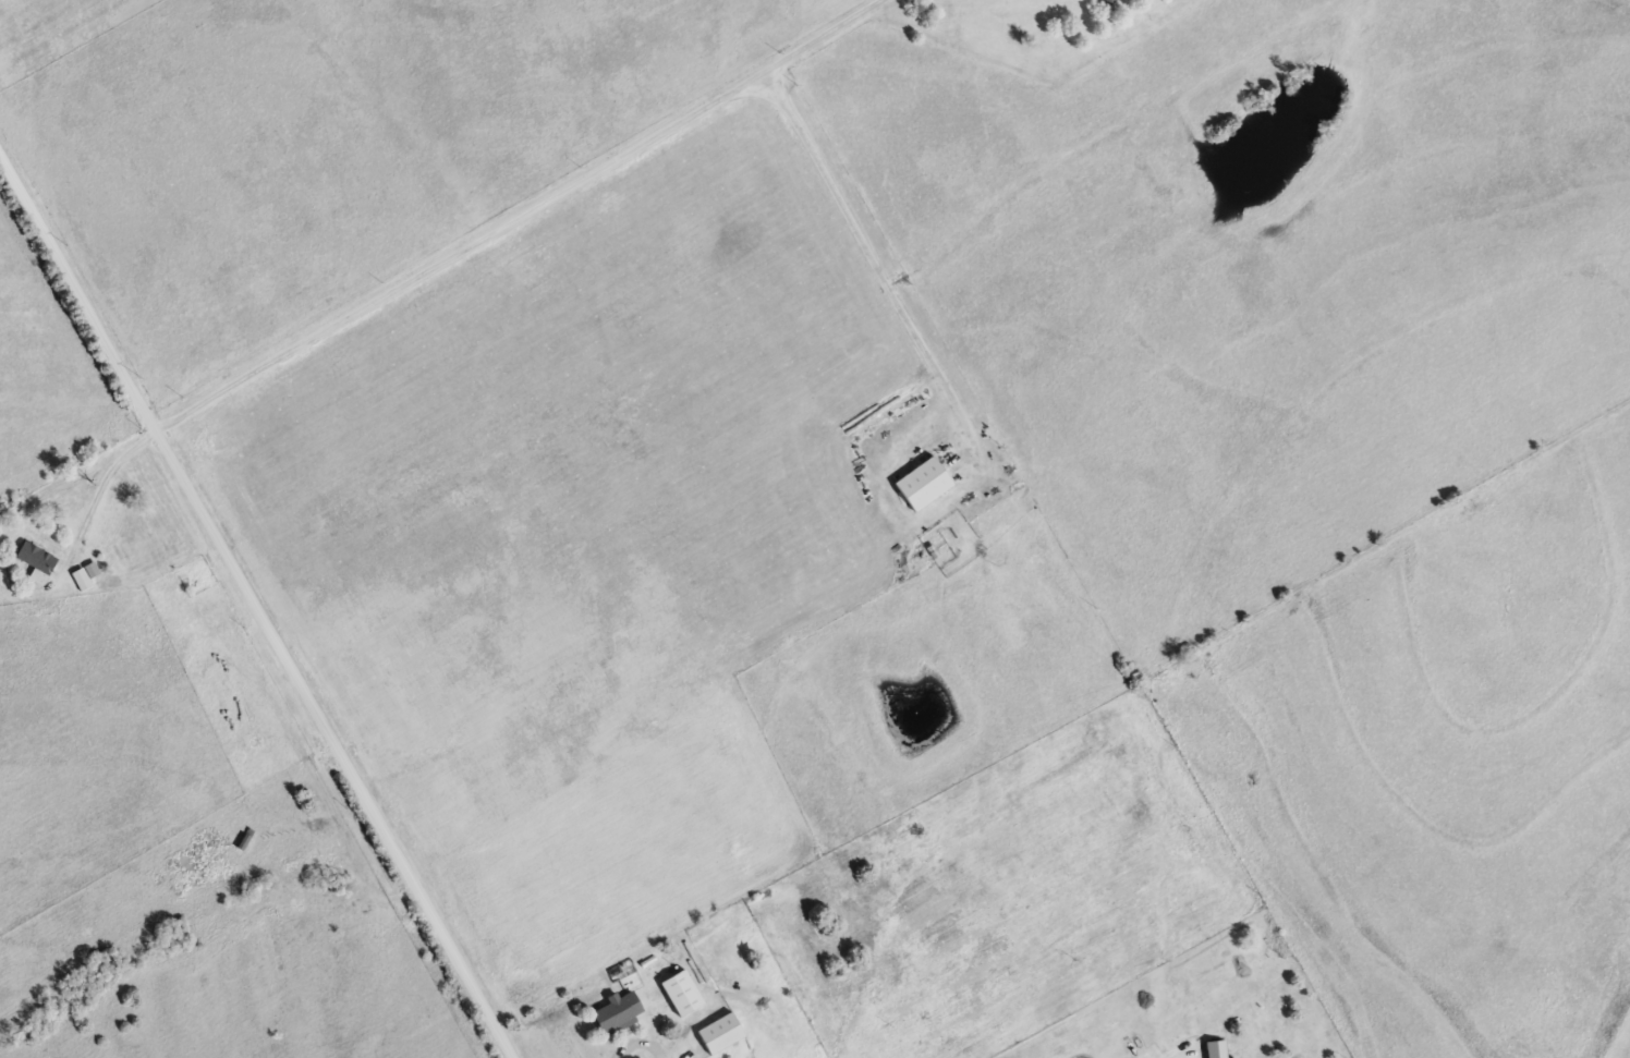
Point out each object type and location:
building: (1105, 1)
road: (868, 250)
road: (436, 256)
building: (141, 469)
building: (915, 482)
building: (38, 559)
road: (255, 604)
building: (240, 839)
road: (360, 842)
building: (608, 1012)
road: (577, 1031)
building: (716, 1031)

